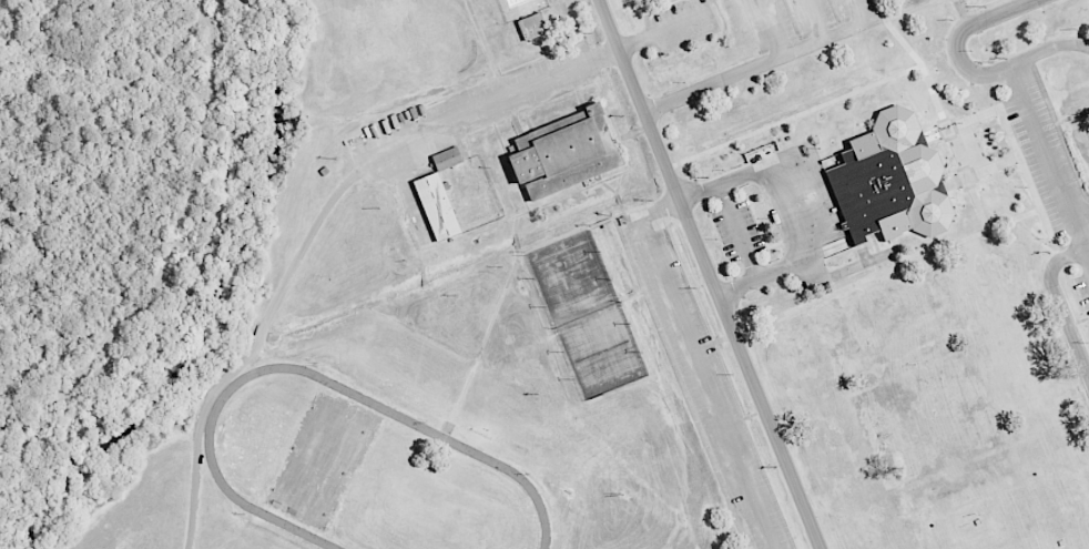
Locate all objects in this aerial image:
road: (813, 19)
building: (533, 26)
parking lot: (805, 26)
road: (767, 28)
road: (663, 32)
road: (832, 34)
road: (973, 72)
road: (712, 84)
road: (939, 111)
road: (794, 116)
road: (1072, 116)
road: (961, 122)
parking lot: (1045, 153)
building: (564, 155)
building: (447, 159)
road: (1049, 160)
road: (1026, 171)
road: (981, 172)
building: (890, 181)
building: (437, 206)
road: (1082, 220)
road: (316, 223)
parking lot: (736, 231)
road: (737, 231)
road: (790, 231)
road: (763, 235)
road: (895, 243)
road: (876, 244)
road: (711, 274)
road: (877, 275)
road: (761, 277)
parking lot: (1083, 289)
road: (500, 296)
road: (1059, 304)
road: (706, 323)
road: (694, 365)
road: (681, 383)
parking lot: (706, 384)
track: (465, 448)
track: (363, 471)
park: (1007, 521)

